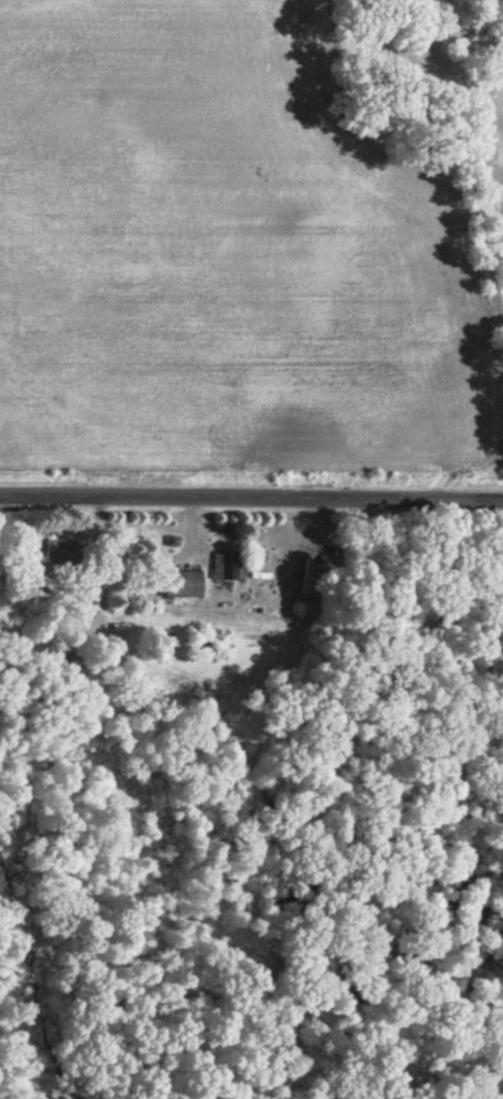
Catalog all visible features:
road: (433, 227)
road: (251, 502)
building: (230, 563)
building: (189, 583)

